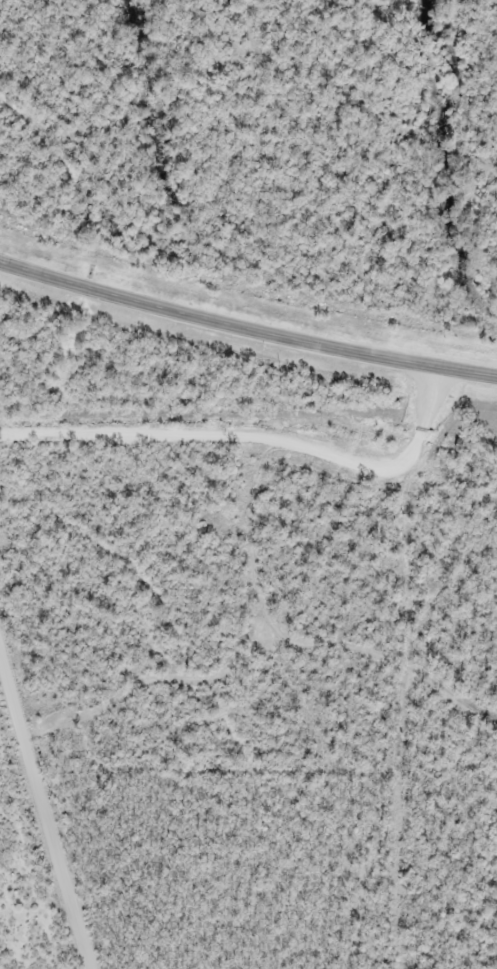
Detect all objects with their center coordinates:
road: (246, 331)
road: (254, 439)
road: (42, 811)

